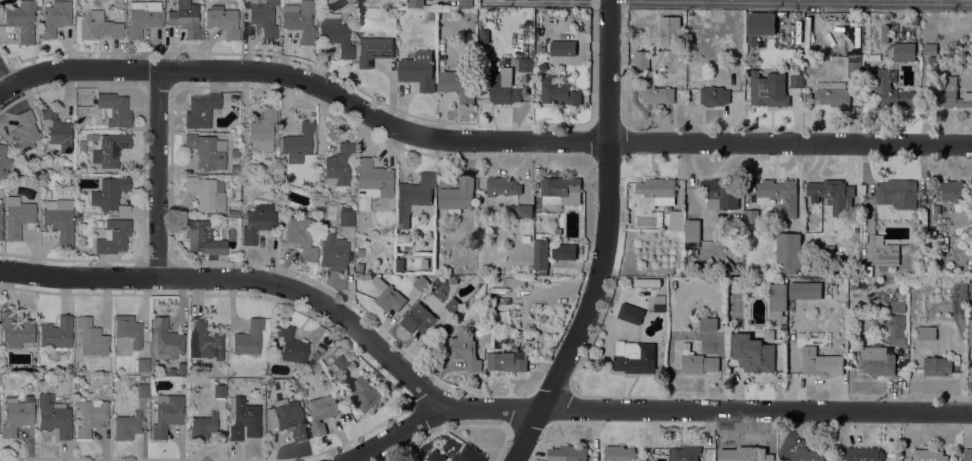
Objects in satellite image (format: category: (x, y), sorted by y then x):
road: (782, 0)
road: (942, 1)
building: (416, 3)
building: (464, 3)
building: (431, 15)
building: (263, 16)
building: (855, 16)
building: (55, 17)
building: (143, 17)
building: (185, 18)
building: (21, 19)
building: (299, 20)
building: (223, 21)
building: (760, 25)
building: (98, 26)
building: (335, 33)
building: (885, 33)
building: (484, 35)
building: (787, 39)
building: (760, 42)
building: (563, 47)
building: (540, 48)
building: (930, 48)
building: (484, 49)
building: (373, 50)
building: (901, 51)
road: (238, 52)
building: (442, 56)
building: (932, 58)
building: (642, 60)
building: (524, 63)
building: (854, 65)
building: (418, 70)
building: (796, 80)
road: (8, 82)
building: (458, 82)
building: (503, 87)
building: (768, 88)
building: (891, 89)
building: (558, 91)
building: (832, 93)
building: (656, 94)
building: (949, 94)
building: (714, 95)
building: (113, 109)
building: (200, 110)
building: (56, 130)
building: (262, 130)
building: (24, 132)
building: (91, 137)
building: (298, 142)
road: (482, 142)
building: (82, 146)
building: (110, 149)
building: (207, 150)
building: (3, 163)
building: (338, 164)
building: (42, 170)
road: (161, 174)
building: (371, 181)
building: (502, 186)
building: (560, 190)
building: (206, 192)
building: (896, 192)
building: (952, 192)
building: (110, 193)
building: (654, 193)
building: (721, 193)
building: (830, 193)
building: (48, 194)
building: (457, 195)
building: (780, 195)
building: (413, 196)
building: (936, 208)
building: (524, 210)
building: (78, 212)
building: (232, 213)
building: (17, 216)
building: (346, 217)
building: (674, 217)
building: (751, 217)
building: (0, 218)
building: (78, 218)
building: (59, 219)
building: (257, 221)
building: (317, 222)
building: (526, 223)
building: (222, 224)
building: (557, 230)
building: (692, 230)
road: (588, 234)
building: (113, 236)
building: (300, 236)
building: (203, 238)
building: (332, 250)
building: (563, 250)
building: (359, 251)
building: (788, 251)
building: (887, 253)
building: (540, 255)
building: (424, 263)
building: (399, 264)
building: (359, 266)
road: (244, 279)
building: (452, 279)
building: (710, 279)
building: (514, 280)
building: (420, 282)
building: (646, 282)
building: (805, 288)
building: (963, 289)
building: (900, 294)
building: (388, 295)
building: (719, 296)
building: (777, 301)
building: (659, 302)
building: (452, 305)
building: (898, 305)
building: (631, 313)
building: (418, 319)
building: (708, 323)
building: (896, 328)
building: (16, 329)
building: (127, 332)
building: (926, 332)
building: (970, 332)
building: (56, 333)
building: (768, 334)
building: (91, 337)
building: (248, 338)
building: (492, 338)
building: (166, 339)
building: (207, 339)
building: (274, 346)
building: (292, 346)
building: (464, 347)
building: (752, 352)
building: (634, 356)
building: (313, 357)
building: (877, 360)
building: (505, 361)
building: (697, 361)
building: (340, 362)
building: (821, 362)
building: (142, 364)
building: (153, 365)
building: (936, 365)
building: (181, 368)
building: (161, 371)
building: (142, 390)
building: (219, 390)
building: (302, 391)
building: (364, 392)
road: (656, 410)
building: (323, 411)
building: (166, 413)
building: (16, 414)
building: (54, 416)
building: (90, 416)
building: (287, 417)
building: (244, 419)
building: (127, 426)
building: (203, 426)
building: (568, 453)
building: (620, 453)
building: (684, 453)
building: (469, 454)
building: (744, 454)
building: (806, 454)
building: (864, 454)
building: (967, 454)
building: (928, 455)
building: (434, 456)

